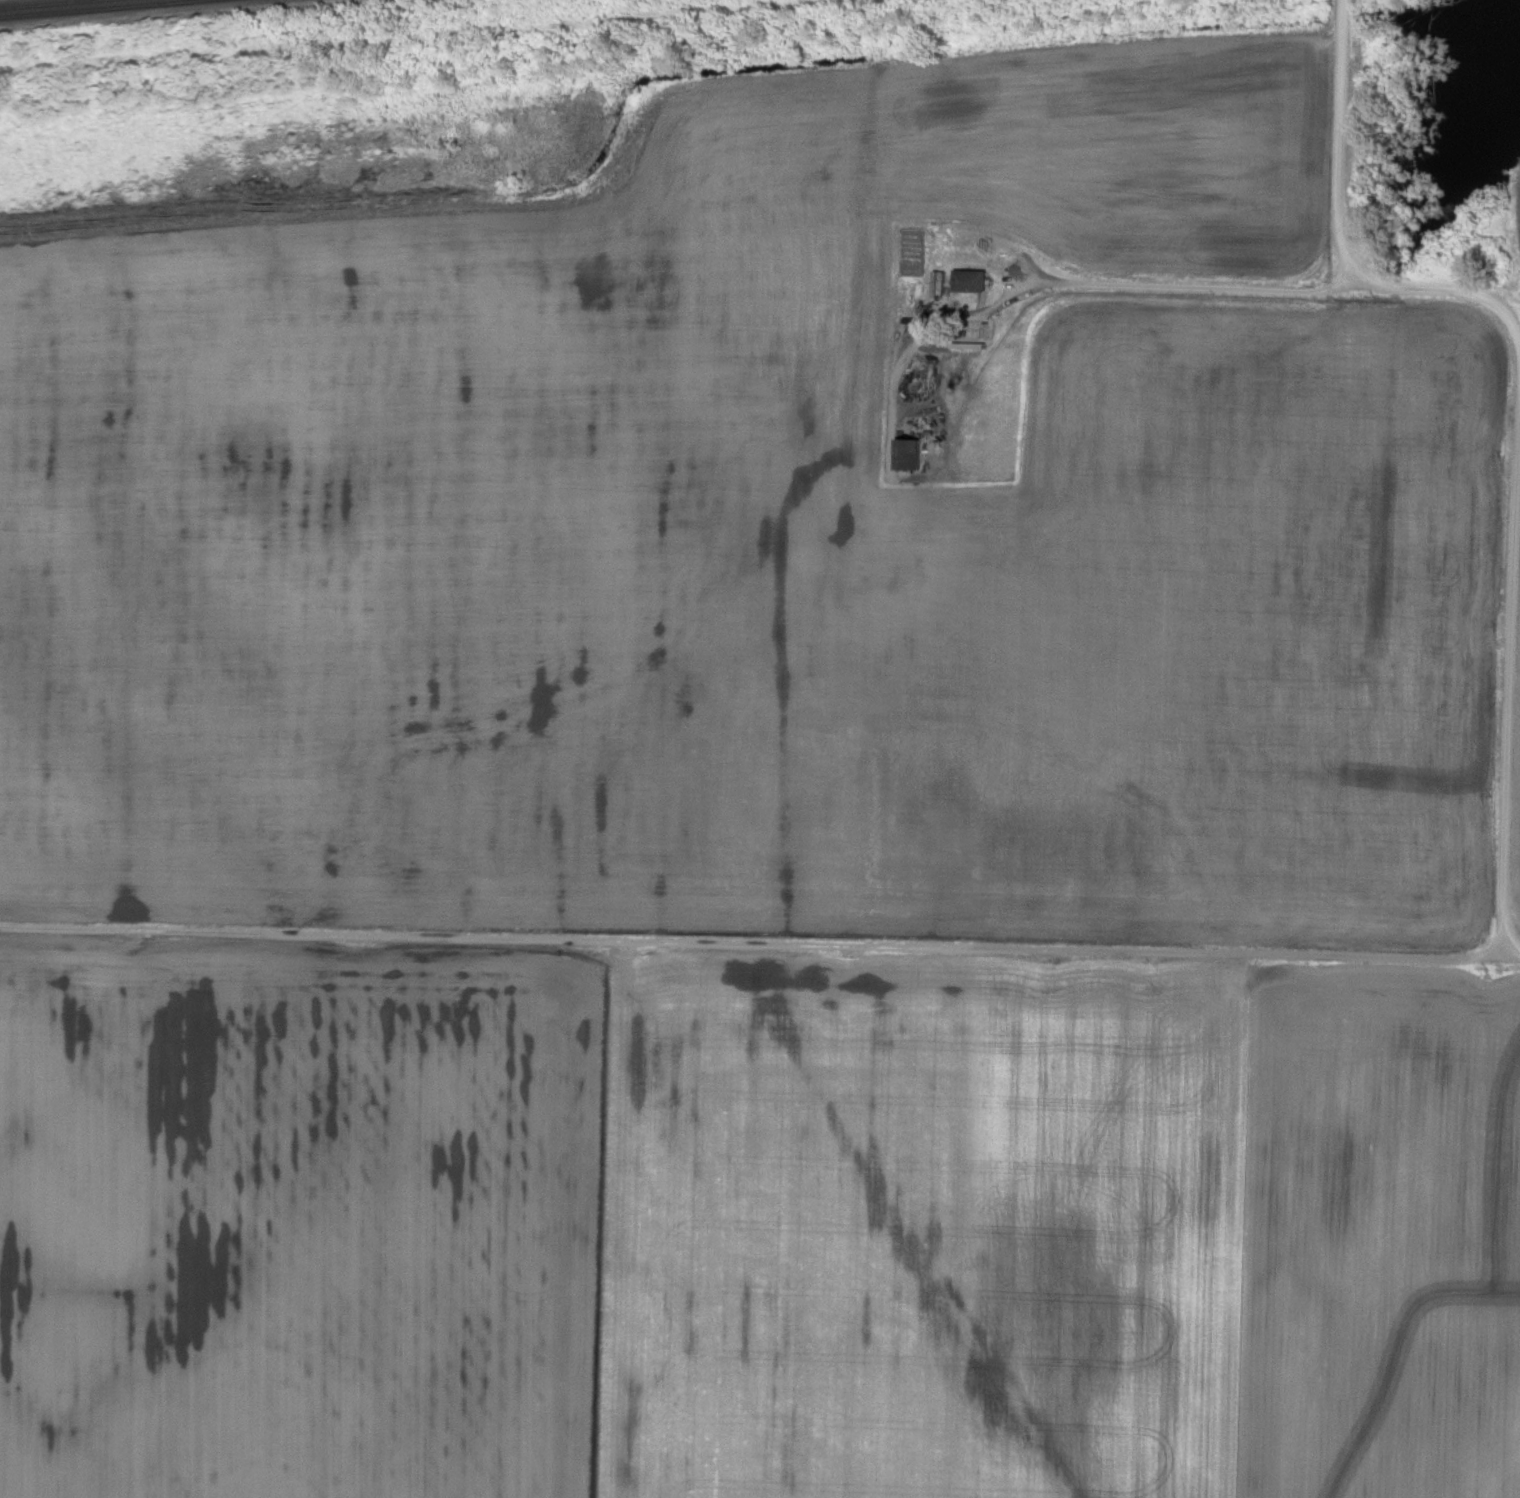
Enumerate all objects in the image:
railway: (44, 3)
railway: (98, 8)
building: (962, 280)
road: (1181, 288)
road: (906, 346)
road: (1516, 419)
road: (760, 952)

